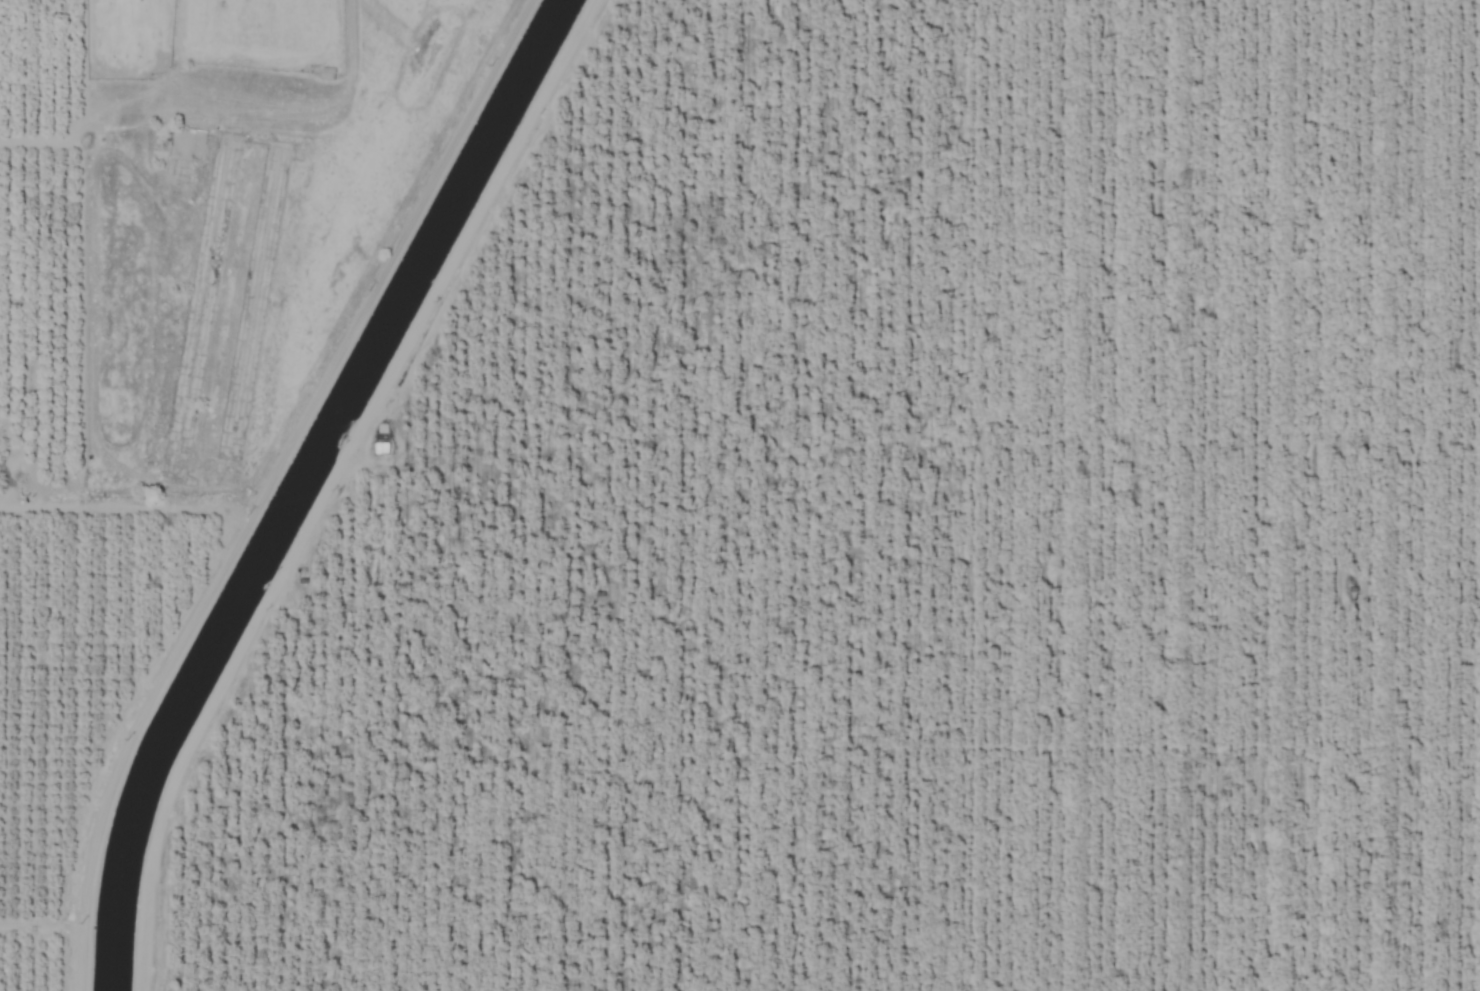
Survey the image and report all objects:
building: (379, 448)

